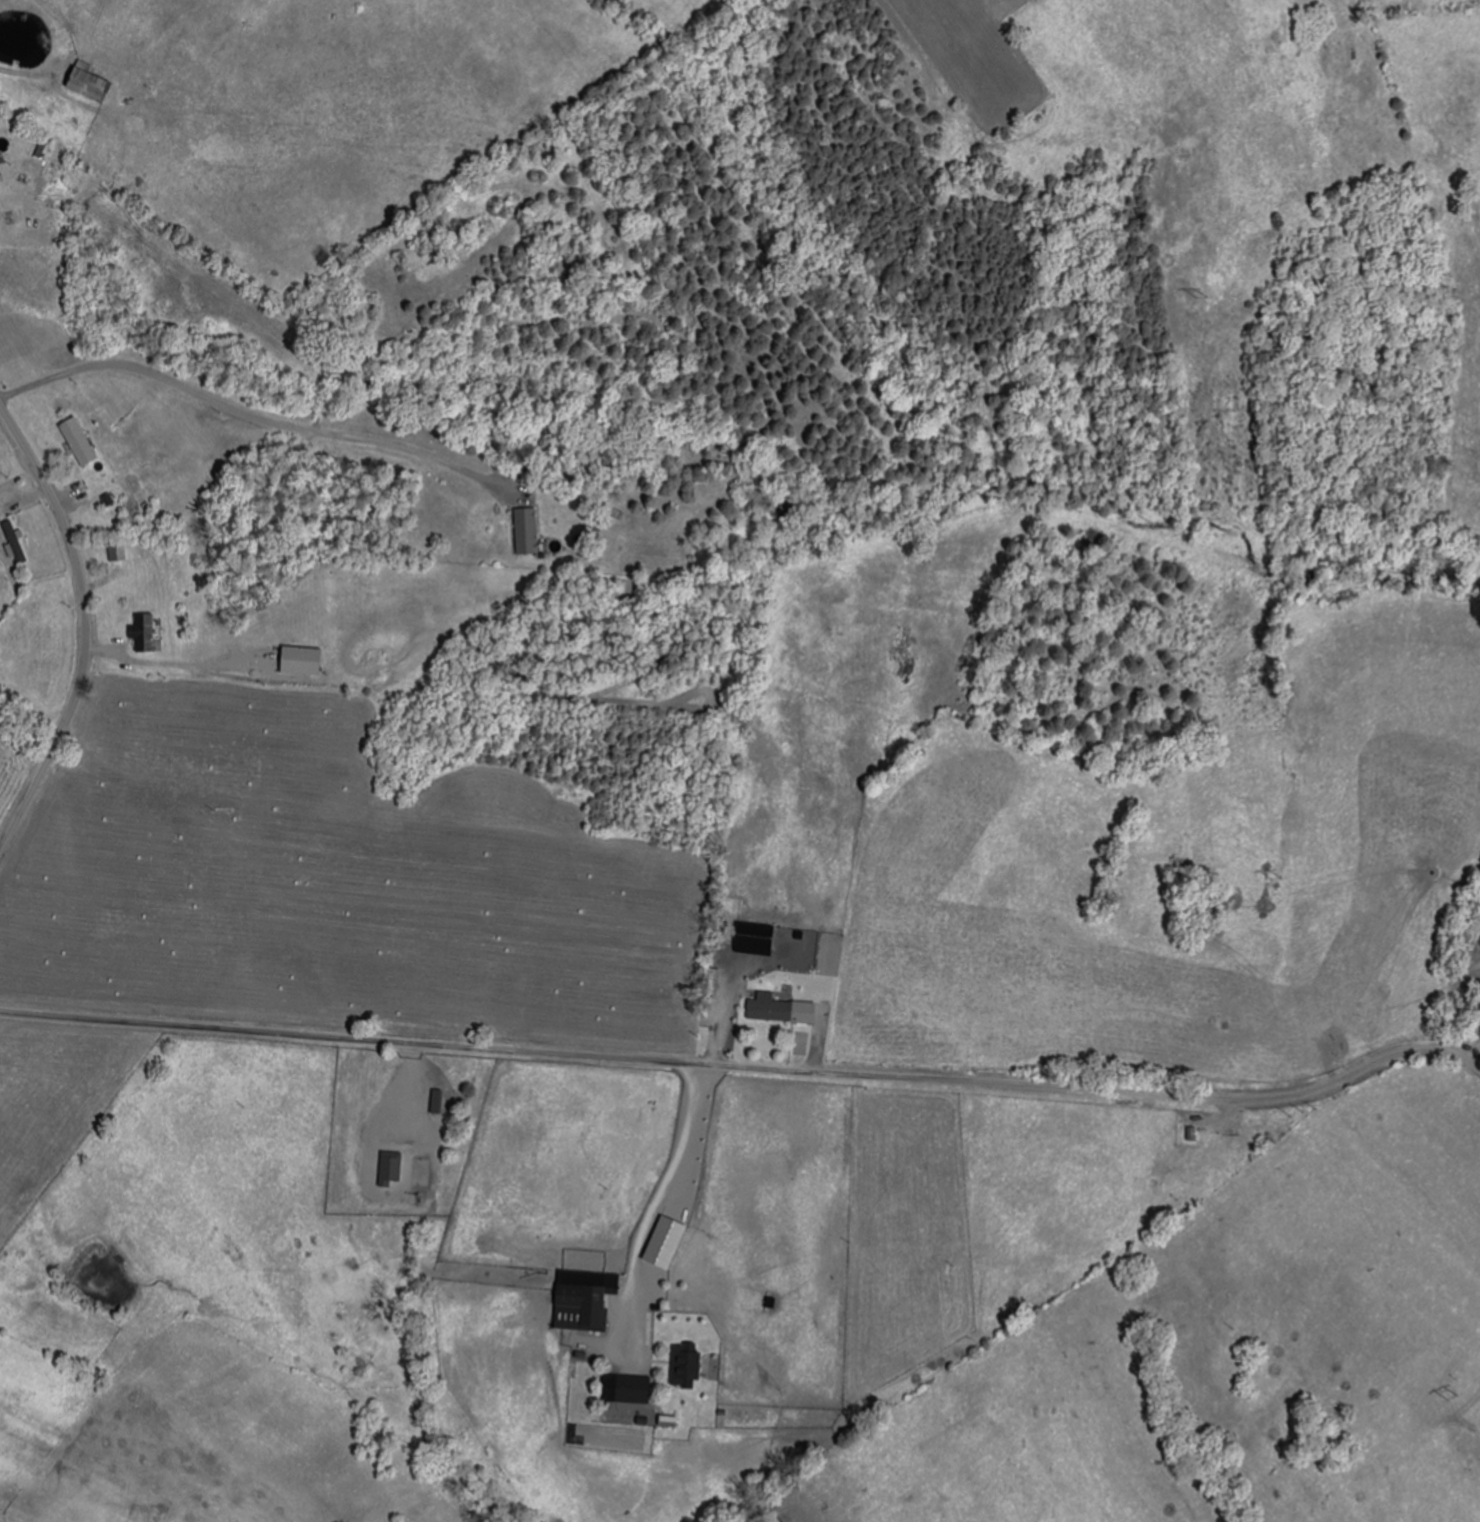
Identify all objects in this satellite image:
building: (93, 84)
building: (82, 442)
road: (61, 521)
building: (529, 533)
building: (15, 543)
building: (121, 553)
building: (147, 633)
road: (46, 744)
building: (782, 1010)
road: (746, 1065)
building: (438, 1102)
building: (392, 1167)
building: (588, 1304)
building: (636, 1389)

